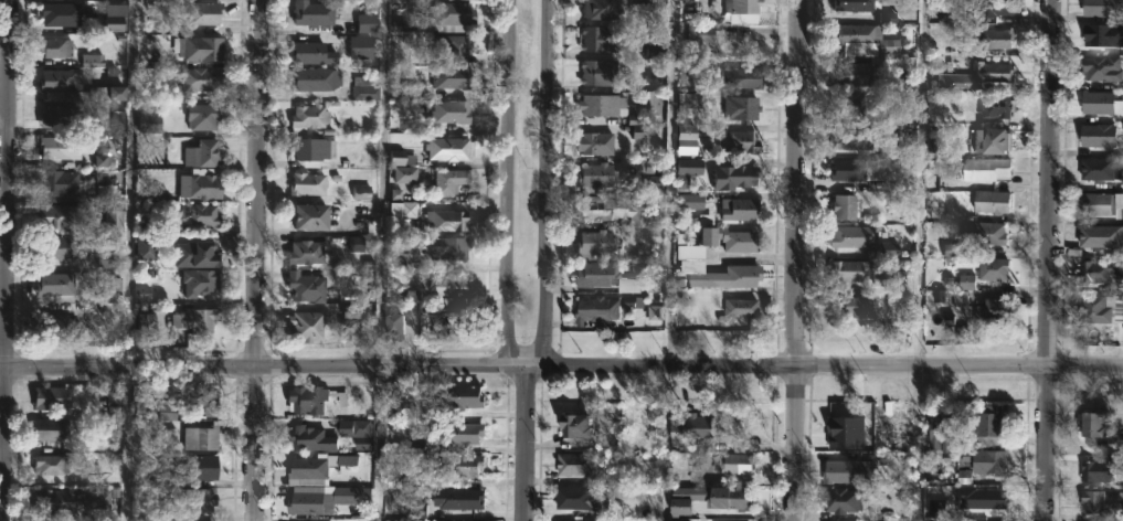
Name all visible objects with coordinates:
building: (854, 4)
building: (739, 6)
building: (1100, 7)
building: (989, 8)
building: (597, 9)
building: (62, 13)
building: (206, 13)
building: (315, 13)
building: (453, 14)
building: (368, 24)
building: (1098, 34)
building: (600, 38)
building: (693, 38)
building: (854, 38)
building: (995, 38)
building: (55, 46)
building: (363, 46)
building: (200, 47)
building: (456, 47)
building: (315, 53)
building: (1100, 68)
building: (594, 72)
building: (851, 74)
building: (977, 75)
building: (453, 76)
building: (739, 77)
building: (317, 78)
building: (62, 79)
building: (203, 79)
building: (365, 88)
building: (117, 94)
building: (595, 104)
building: (1101, 104)
building: (846, 105)
building: (996, 105)
building: (738, 107)
building: (932, 107)
building: (453, 111)
building: (210, 114)
building: (60, 115)
building: (310, 117)
building: (1094, 135)
building: (849, 137)
building: (735, 140)
building: (987, 140)
building: (592, 142)
building: (63, 147)
building: (452, 148)
building: (310, 149)
building: (208, 152)
building: (649, 167)
building: (987, 168)
building: (869, 169)
building: (1096, 169)
building: (406, 174)
building: (654, 176)
building: (730, 176)
building: (592, 177)
building: (452, 180)
building: (61, 182)
building: (309, 183)
road: (668, 183)
road: (131, 184)
road: (383, 184)
building: (201, 185)
road: (512, 185)
road: (549, 185)
building: (990, 201)
building: (1101, 204)
building: (841, 206)
building: (607, 209)
building: (737, 209)
building: (59, 215)
building: (202, 215)
building: (314, 215)
building: (451, 220)
building: (115, 222)
building: (984, 233)
building: (845, 235)
building: (1100, 235)
building: (725, 238)
building: (597, 243)
building: (148, 247)
building: (62, 248)
building: (451, 248)
building: (307, 252)
building: (199, 255)
road: (7, 259)
road: (257, 259)
road: (798, 260)
road: (920, 260)
road: (1048, 260)
building: (992, 268)
building: (846, 270)
building: (1099, 272)
building: (716, 275)
building: (603, 277)
building: (201, 281)
building: (59, 284)
building: (453, 285)
building: (307, 287)
building: (112, 289)
building: (142, 295)
building: (852, 307)
building: (595, 308)
building: (737, 309)
building: (1100, 309)
building: (990, 310)
building: (198, 319)
building: (396, 323)
building: (449, 323)
building: (309, 326)
building: (61, 327)
building: (354, 328)
road: (561, 368)
building: (466, 397)
building: (55, 398)
building: (314, 400)
building: (204, 402)
building: (1090, 425)
building: (581, 426)
building: (986, 427)
building: (53, 429)
building: (349, 429)
building: (697, 429)
building: (884, 429)
building: (644, 430)
building: (937, 432)
building: (465, 436)
building: (202, 438)
building: (312, 439)
road: (377, 444)
road: (666, 444)
road: (128, 445)
road: (527, 445)
building: (984, 461)
building: (732, 464)
building: (51, 465)
building: (575, 466)
building: (204, 467)
building: (466, 467)
building: (1100, 469)
building: (311, 470)
building: (836, 471)
building: (985, 498)
building: (462, 499)
building: (584, 499)
building: (735, 499)
building: (98, 500)
building: (309, 500)
building: (690, 500)
building: (55, 501)
building: (197, 501)
building: (838, 501)
building: (1093, 501)
building: (942, 508)

